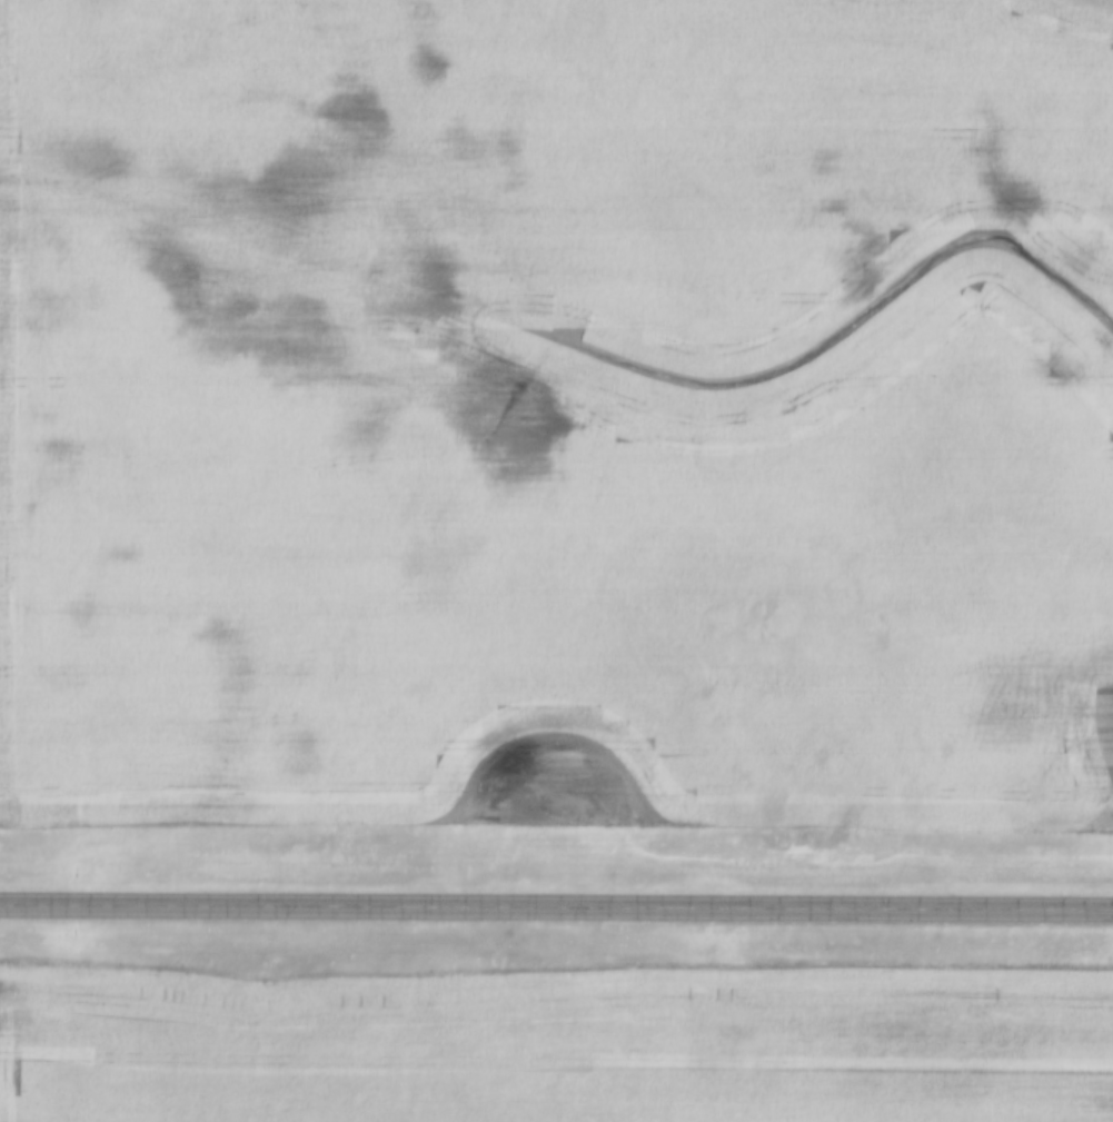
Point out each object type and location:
road: (556, 908)

